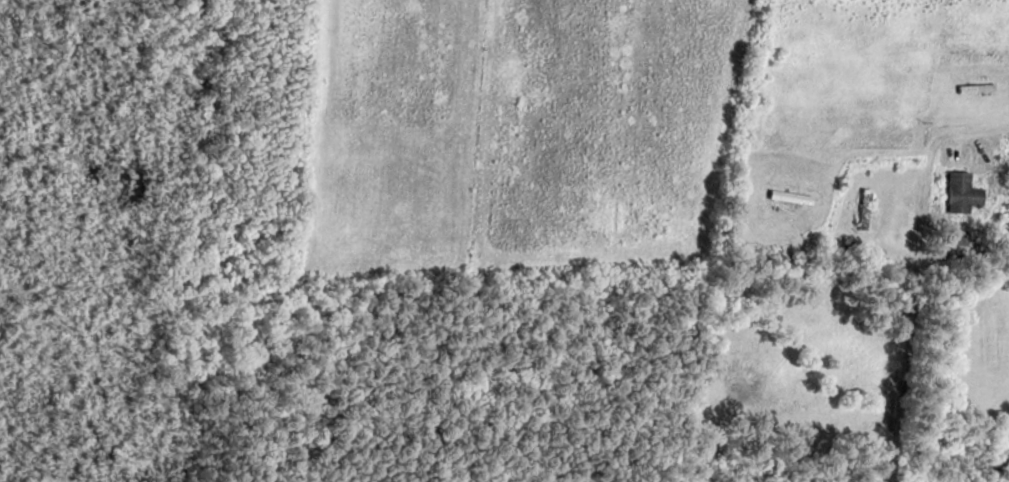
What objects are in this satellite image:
building: (975, 87)
building: (961, 191)
building: (790, 196)
building: (865, 207)
building: (956, 244)
road: (917, 271)

